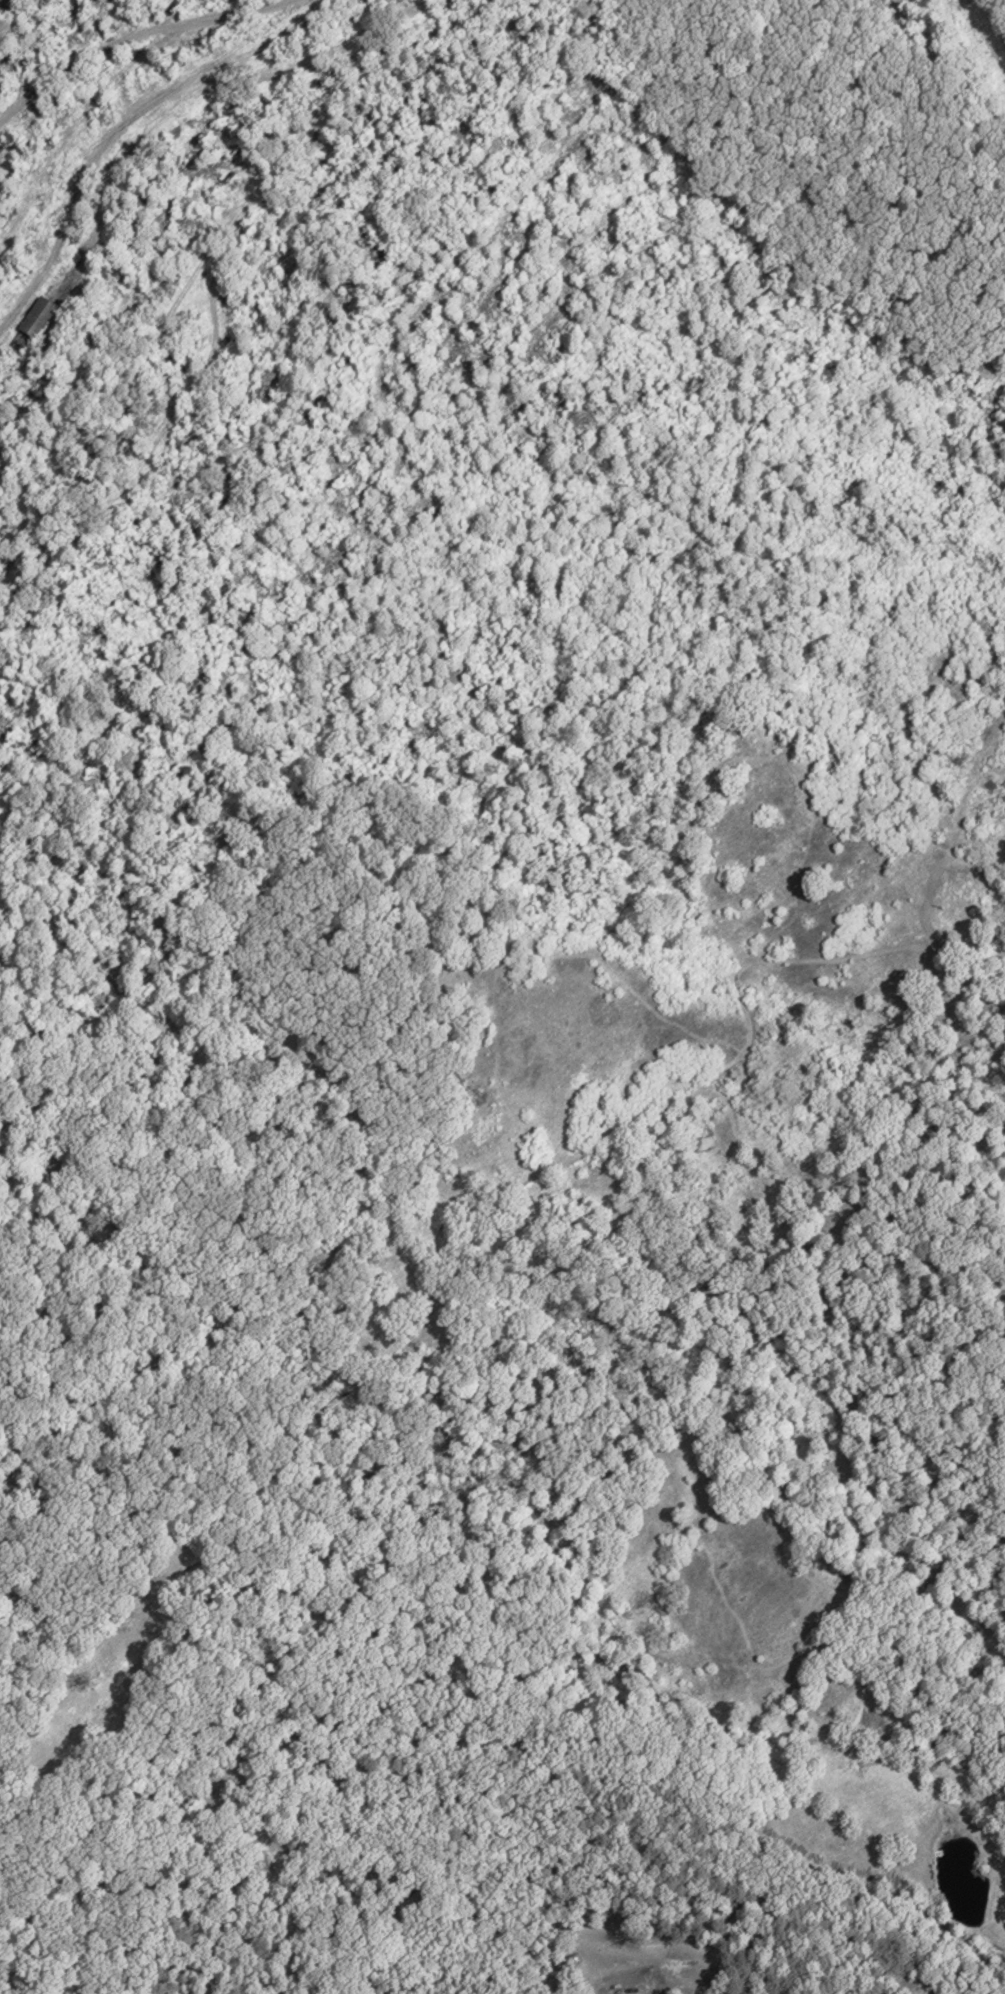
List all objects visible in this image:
road: (111, 107)

